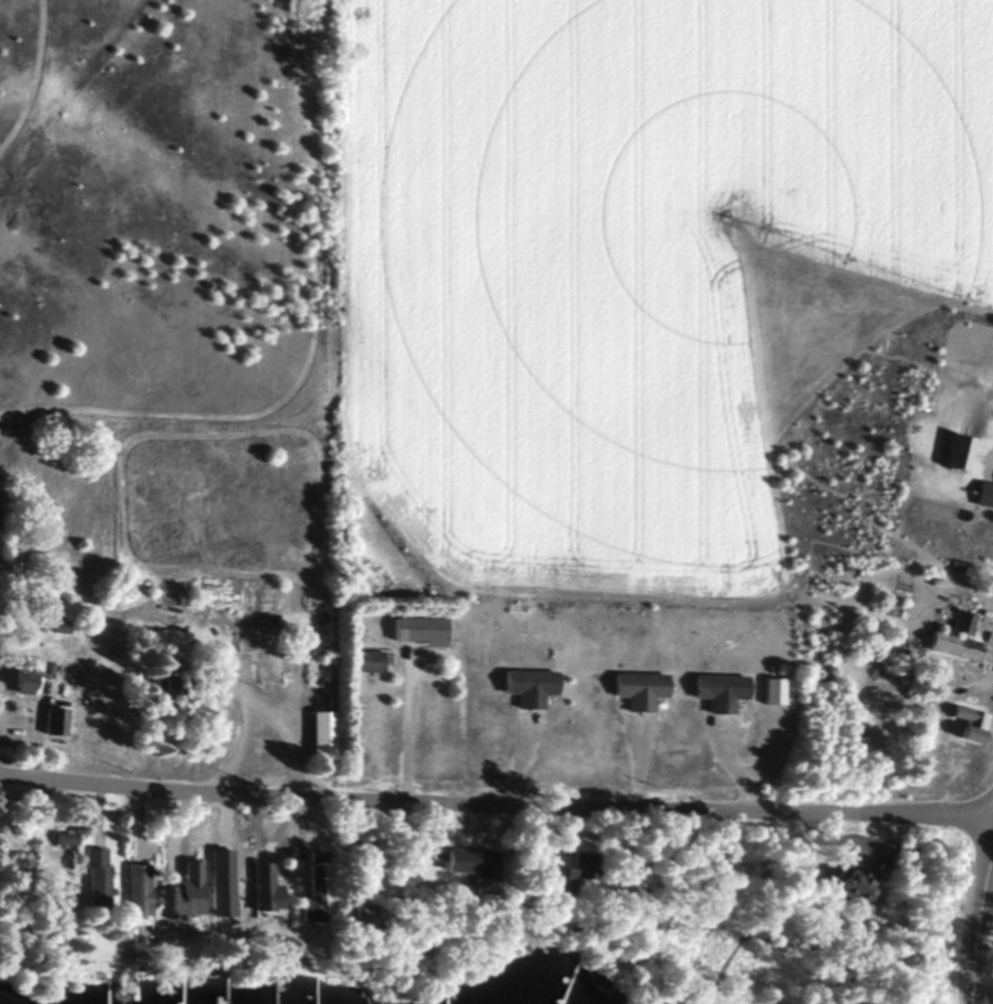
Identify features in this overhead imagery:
building: (953, 453)
road: (991, 462)
building: (57, 628)
building: (417, 631)
building: (953, 639)
building: (365, 661)
road: (988, 663)
building: (526, 687)
building: (635, 691)
building: (770, 691)
building: (717, 692)
road: (256, 706)
building: (52, 722)
building: (965, 724)
road: (405, 731)
building: (318, 732)
road: (496, 806)
building: (58, 839)
building: (479, 872)
building: (562, 874)
building: (90, 877)
building: (215, 883)
building: (260, 887)
building: (849, 888)
building: (130, 890)
building: (180, 890)
building: (307, 898)
road: (975, 922)

